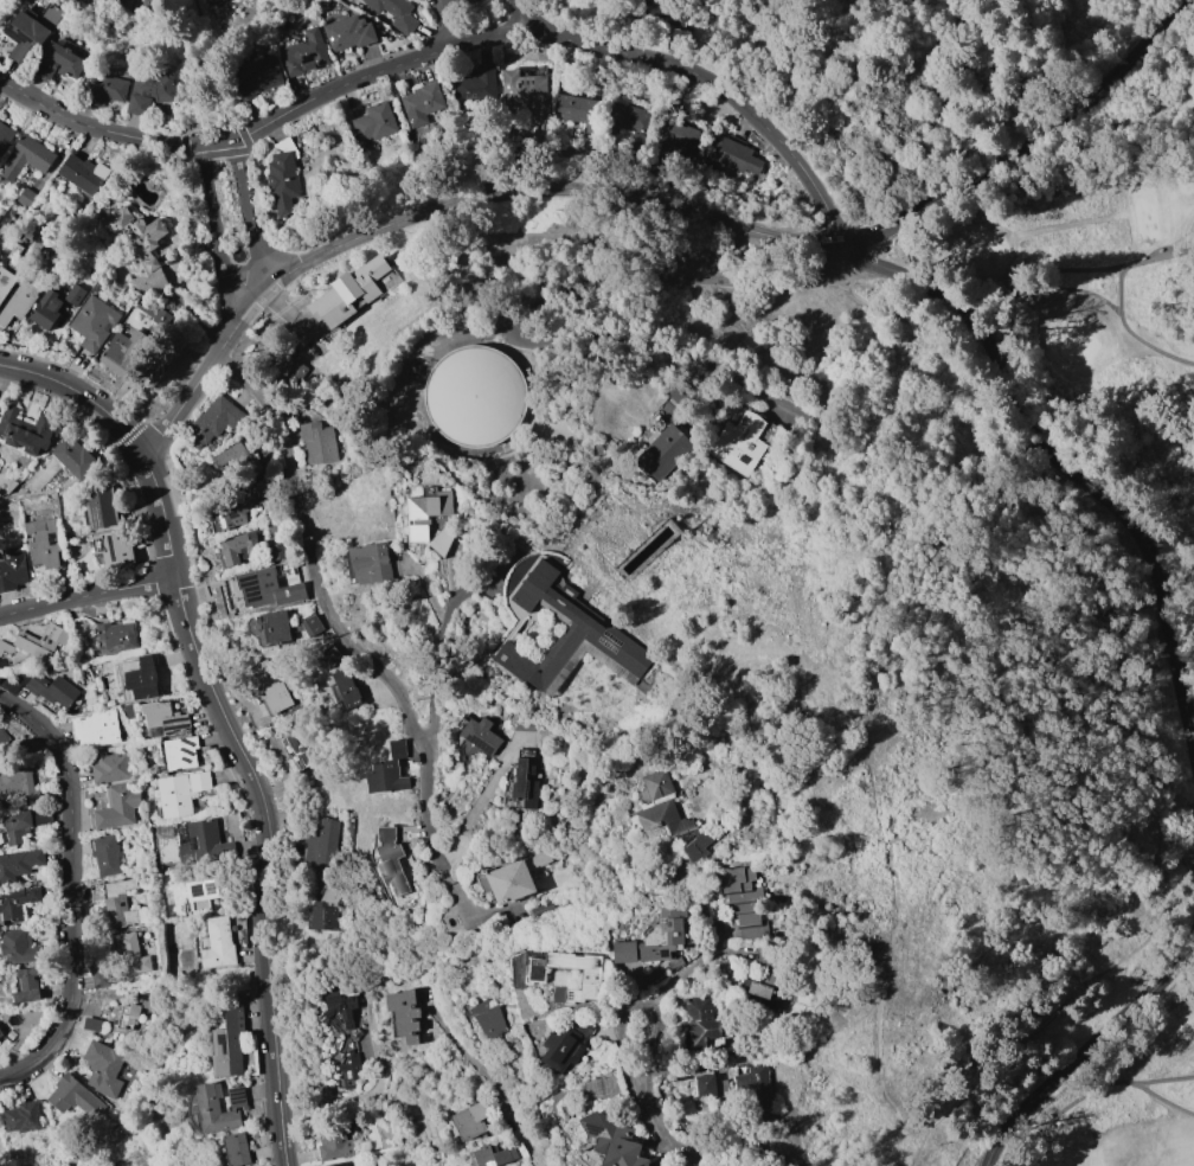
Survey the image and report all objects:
building: (107, 0)
building: (143, 8)
building: (394, 12)
building: (662, 12)
road: (522, 17)
road: (443, 24)
building: (31, 32)
building: (349, 33)
road: (223, 37)
building: (678, 37)
road: (448, 47)
building: (306, 55)
building: (59, 63)
building: (258, 77)
building: (477, 83)
building: (107, 89)
building: (150, 91)
building: (527, 94)
road: (1000, 96)
building: (423, 103)
building: (582, 114)
road: (833, 118)
building: (625, 120)
building: (374, 122)
building: (6, 136)
building: (676, 136)
road: (1027, 147)
road: (579, 152)
building: (27, 158)
building: (740, 158)
building: (83, 169)
building: (284, 175)
building: (26, 197)
road: (441, 206)
road: (250, 213)
road: (213, 228)
building: (140, 246)
road: (906, 248)
fountain: (238, 254)
building: (6, 282)
road: (1016, 284)
road: (584, 286)
building: (98, 287)
building: (349, 291)
building: (75, 296)
road: (1121, 299)
building: (21, 300)
park: (1094, 312)
building: (46, 315)
building: (160, 320)
road: (285, 320)
building: (94, 322)
road: (471, 335)
building: (122, 355)
building: (291, 370)
road: (163, 384)
road: (79, 393)
building: (475, 395)
building: (682, 397)
building: (0, 405)
building: (213, 421)
building: (21, 434)
building: (740, 442)
building: (315, 444)
building: (666, 451)
building: (75, 456)
building: (230, 456)
road: (1064, 462)
building: (270, 487)
building: (103, 507)
building: (429, 512)
road: (162, 514)
building: (231, 514)
building: (443, 542)
building: (43, 544)
building: (242, 547)
building: (114, 549)
building: (277, 551)
building: (372, 563)
building: (12, 569)
building: (272, 587)
road: (85, 594)
road: (185, 617)
road: (334, 624)
building: (314, 626)
building: (280, 628)
building: (117, 635)
building: (569, 636)
building: (46, 642)
road: (437, 648)
building: (143, 679)
building: (269, 686)
building: (348, 686)
building: (53, 691)
building: (128, 712)
road: (1137, 712)
road: (222, 718)
building: (163, 719)
building: (96, 728)
building: (482, 737)
building: (5, 742)
building: (298, 751)
building: (181, 752)
building: (111, 767)
building: (391, 770)
building: (200, 781)
building: (527, 783)
building: (20, 787)
building: (174, 795)
road: (480, 802)
building: (116, 807)
building: (669, 815)
building: (24, 822)
building: (204, 843)
building: (320, 846)
building: (108, 854)
building: (394, 860)
building: (20, 864)
building: (513, 878)
road: (73, 890)
building: (203, 892)
building: (745, 899)
building: (17, 903)
building: (120, 903)
building: (327, 909)
building: (545, 914)
building: (657, 938)
building: (220, 943)
building: (20, 946)
building: (130, 954)
building: (766, 955)
road: (692, 968)
road: (265, 970)
building: (773, 970)
building: (591, 975)
road: (444, 984)
building: (27, 985)
building: (763, 989)
building: (147, 1004)
road: (641, 1008)
building: (133, 1013)
building: (404, 1017)
building: (490, 1019)
building: (116, 1020)
building: (702, 1024)
building: (90, 1026)
building: (1, 1032)
building: (345, 1033)
building: (11, 1034)
building: (0, 1037)
building: (230, 1042)
building: (569, 1042)
road: (1086, 1050)
road: (797, 1056)
building: (102, 1064)
road: (1162, 1078)
building: (707, 1085)
building: (752, 1088)
park: (1119, 1091)
road: (1083, 1094)
building: (73, 1096)
road: (1161, 1097)
building: (219, 1107)
building: (24, 1117)
building: (473, 1120)
road: (515, 1127)
building: (335, 1140)
building: (614, 1140)
road: (674, 1142)
building: (238, 1148)
building: (495, 1155)
building: (340, 1165)
building: (687, 1165)

